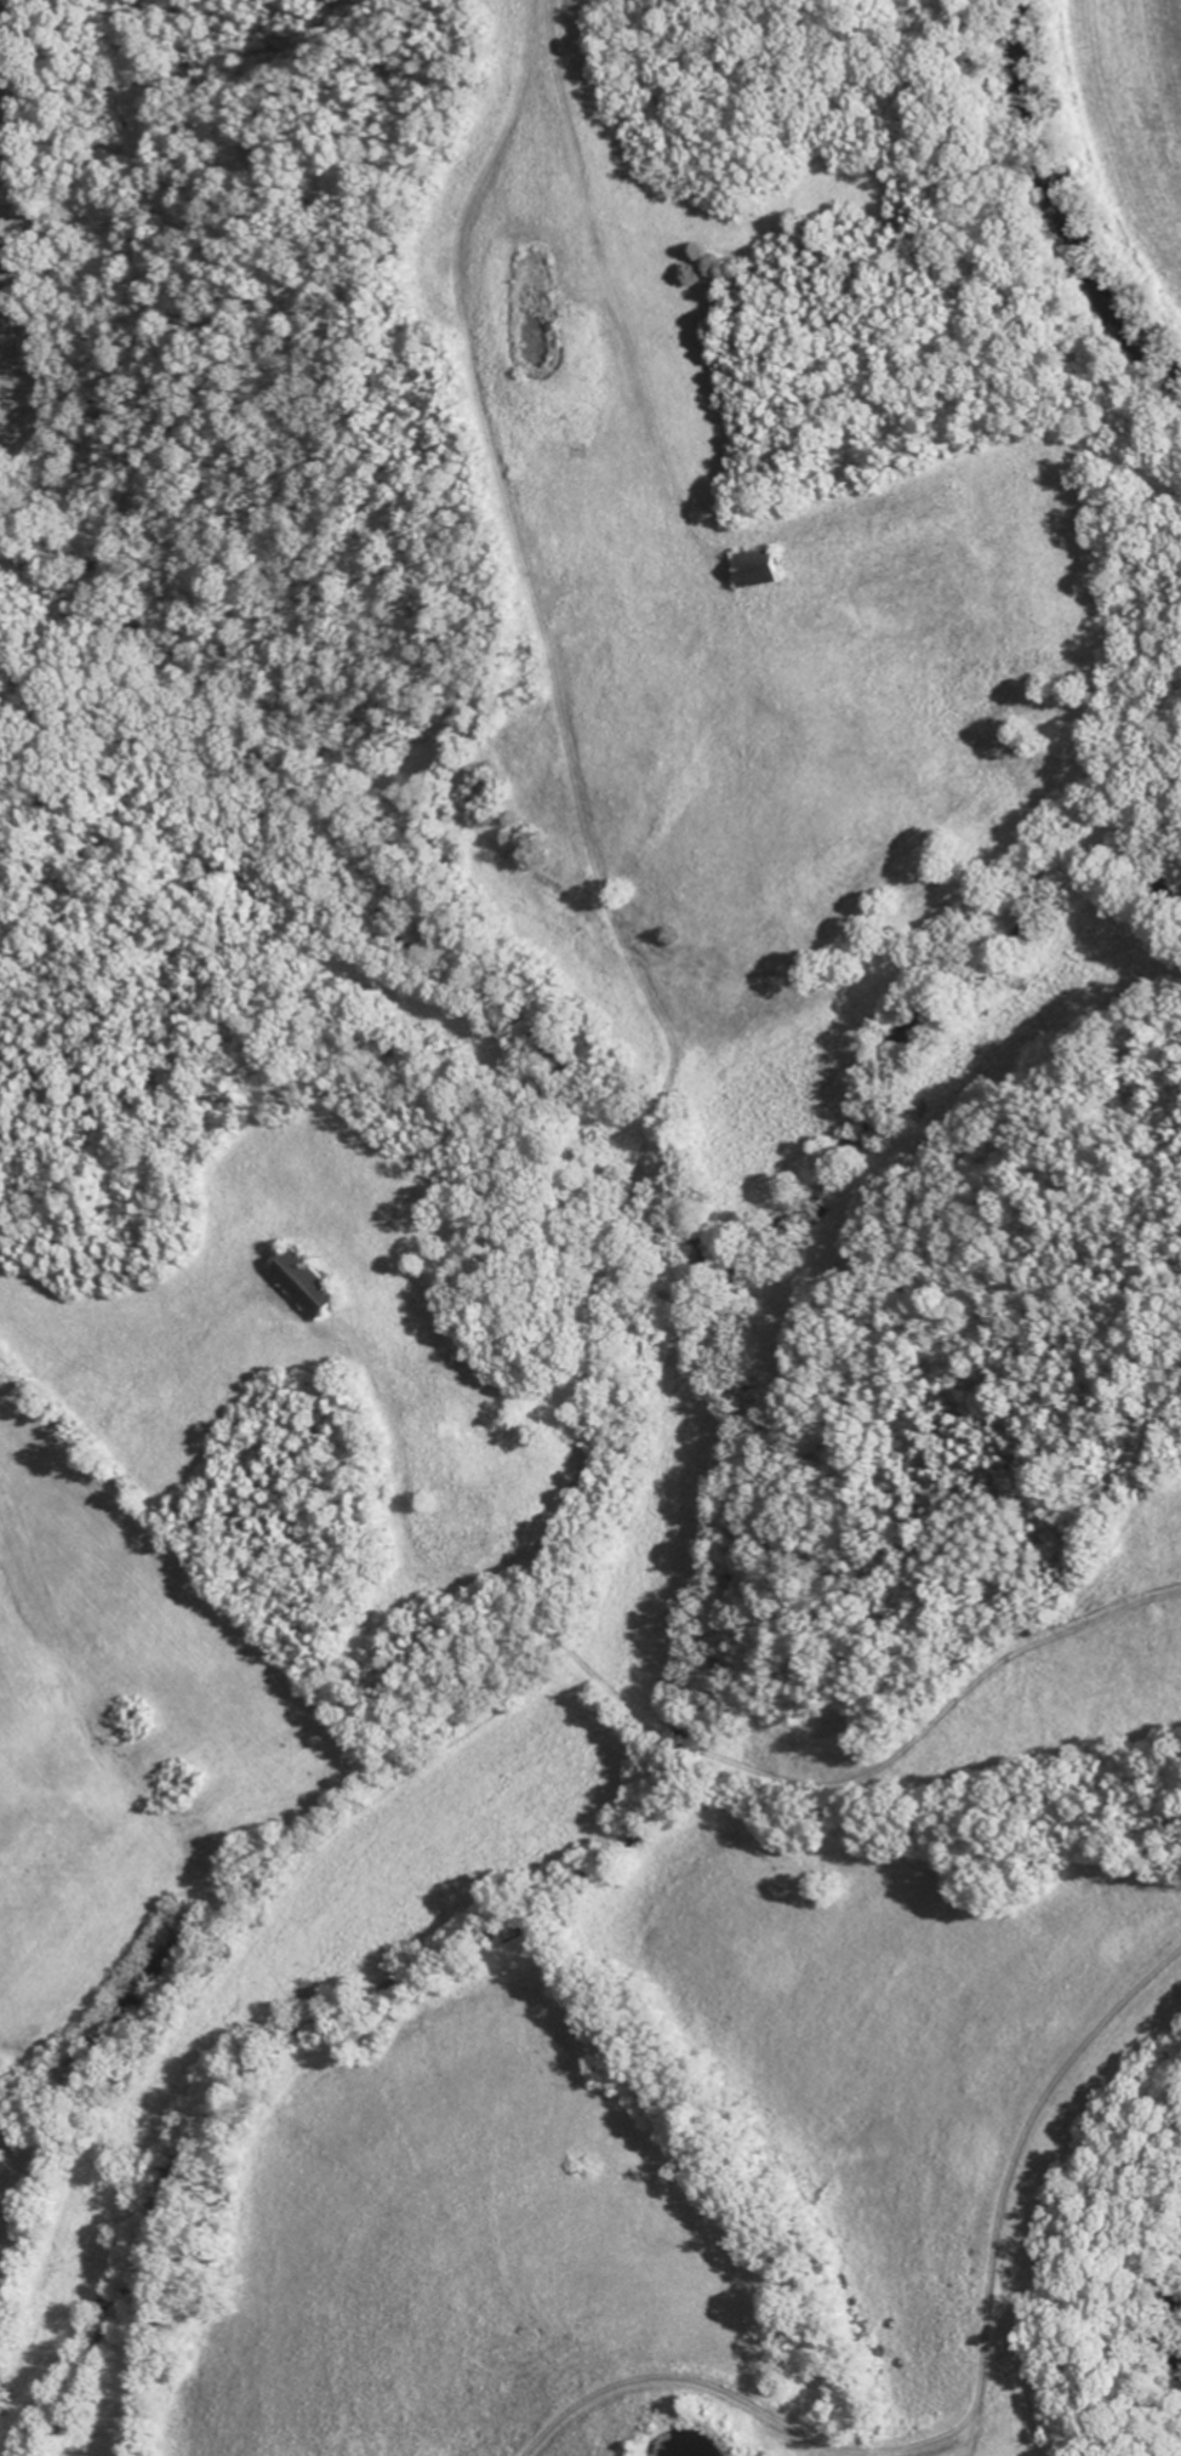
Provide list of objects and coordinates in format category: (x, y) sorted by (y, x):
building: (768, 566)
building: (314, 1284)
road: (148, 1970)

